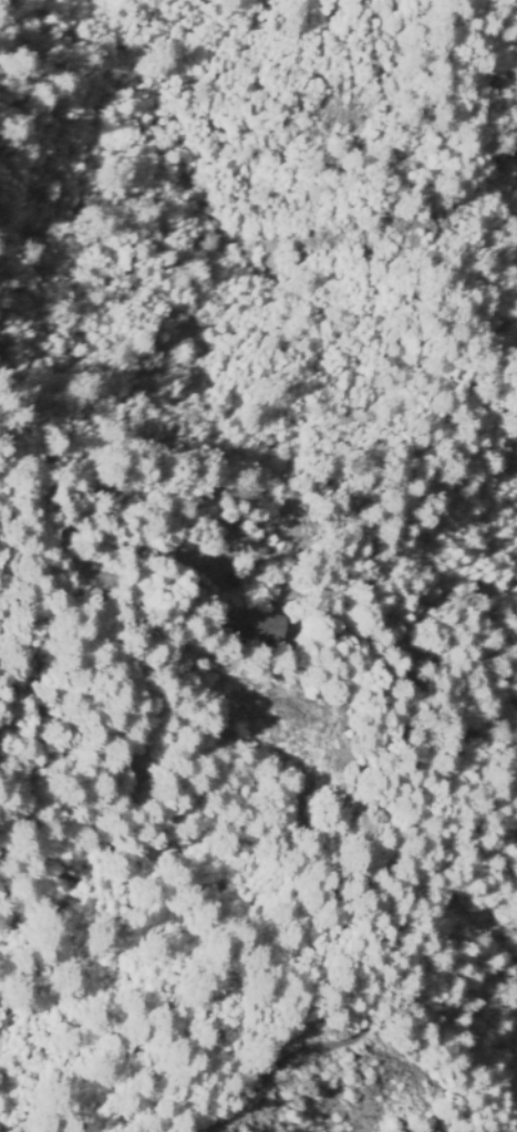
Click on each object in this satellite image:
building: (259, 625)

